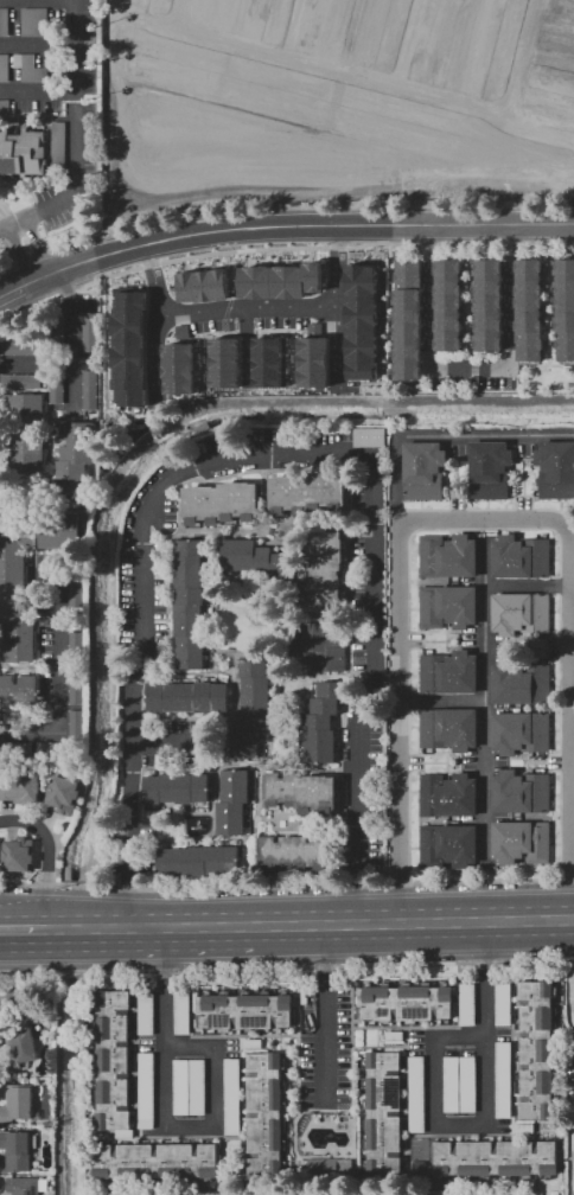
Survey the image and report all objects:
building: (4, 21)
building: (34, 21)
building: (5, 68)
building: (30, 69)
road: (37, 89)
building: (5, 106)
road: (75, 139)
building: (58, 146)
building: (24, 151)
road: (7, 215)
road: (281, 225)
road: (37, 247)
road: (281, 247)
road: (19, 254)
building: (279, 281)
building: (202, 286)
building: (529, 295)
building: (565, 295)
road: (381, 301)
building: (449, 305)
building: (489, 305)
road: (250, 306)
road: (509, 314)
road: (427, 315)
building: (361, 320)
building: (408, 320)
building: (57, 332)
building: (91, 332)
road: (72, 338)
road: (339, 338)
building: (530, 345)
building: (565, 345)
building: (130, 346)
building: (21, 347)
road: (36, 362)
building: (266, 362)
building: (313, 362)
building: (223, 363)
building: (178, 368)
building: (21, 381)
building: (90, 386)
building: (56, 389)
building: (27, 432)
building: (370, 437)
building: (75, 442)
road: (267, 452)
road: (49, 459)
building: (490, 469)
building: (555, 469)
building: (423, 471)
building: (72, 481)
building: (306, 490)
building: (222, 504)
road: (479, 520)
building: (59, 530)
building: (244, 555)
building: (448, 557)
building: (521, 557)
road: (484, 563)
building: (321, 569)
building: (15, 588)
building: (77, 593)
building: (189, 603)
building: (447, 606)
building: (521, 613)
building: (319, 644)
building: (77, 645)
building: (448, 672)
road: (484, 678)
road: (58, 680)
building: (519, 682)
building: (18, 691)
building: (77, 691)
building: (187, 697)
road: (440, 699)
building: (250, 710)
building: (323, 722)
building: (77, 723)
building: (448, 728)
building: (521, 731)
road: (162, 742)
building: (17, 748)
building: (50, 749)
building: (21, 788)
building: (174, 788)
building: (301, 792)
building: (521, 792)
building: (63, 794)
building: (448, 794)
building: (232, 801)
building: (522, 842)
building: (448, 846)
building: (296, 852)
building: (19, 854)
road: (53, 855)
building: (197, 861)
road: (287, 886)
road: (573, 916)
road: (446, 919)
road: (26, 924)
road: (186, 926)
road: (26, 937)
road: (573, 938)
road: (287, 967)
building: (404, 1002)
building: (504, 1003)
building: (467, 1004)
building: (244, 1009)
building: (146, 1012)
building: (183, 1012)
road: (321, 1012)
building: (2, 1014)
building: (395, 1035)
building: (253, 1043)
building: (24, 1044)
building: (537, 1048)
building: (114, 1060)
building: (504, 1079)
building: (451, 1084)
building: (467, 1084)
building: (180, 1087)
building: (198, 1087)
building: (147, 1089)
building: (416, 1094)
building: (232, 1097)
building: (18, 1104)
road: (486, 1110)
building: (269, 1112)
building: (384, 1112)
road: (165, 1114)
building: (49, 1123)
building: (525, 1127)
building: (17, 1150)
building: (417, 1151)
building: (493, 1159)
building: (155, 1161)
building: (419, 1168)
building: (24, 1186)

